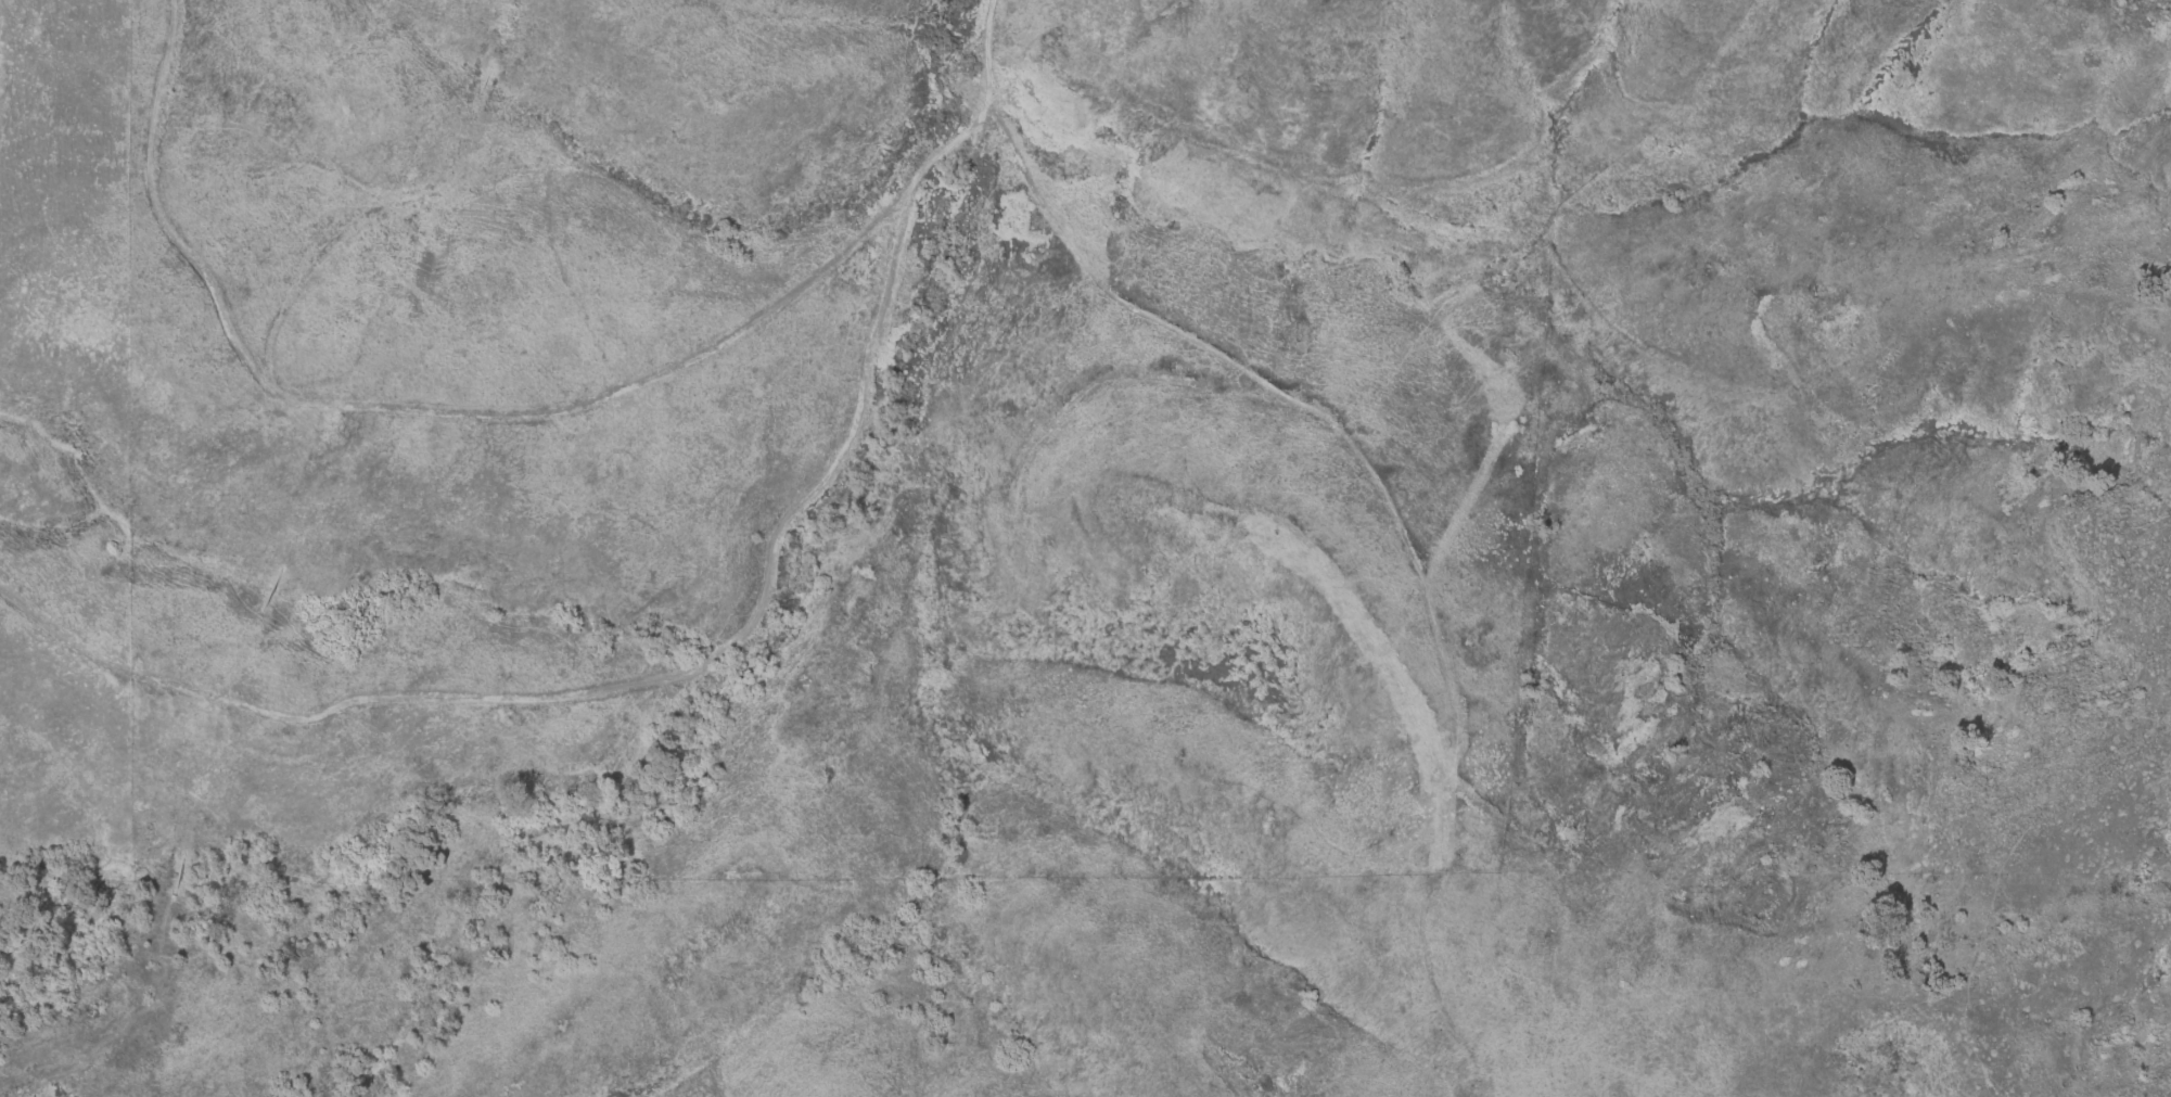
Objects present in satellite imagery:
road: (1268, 400)

